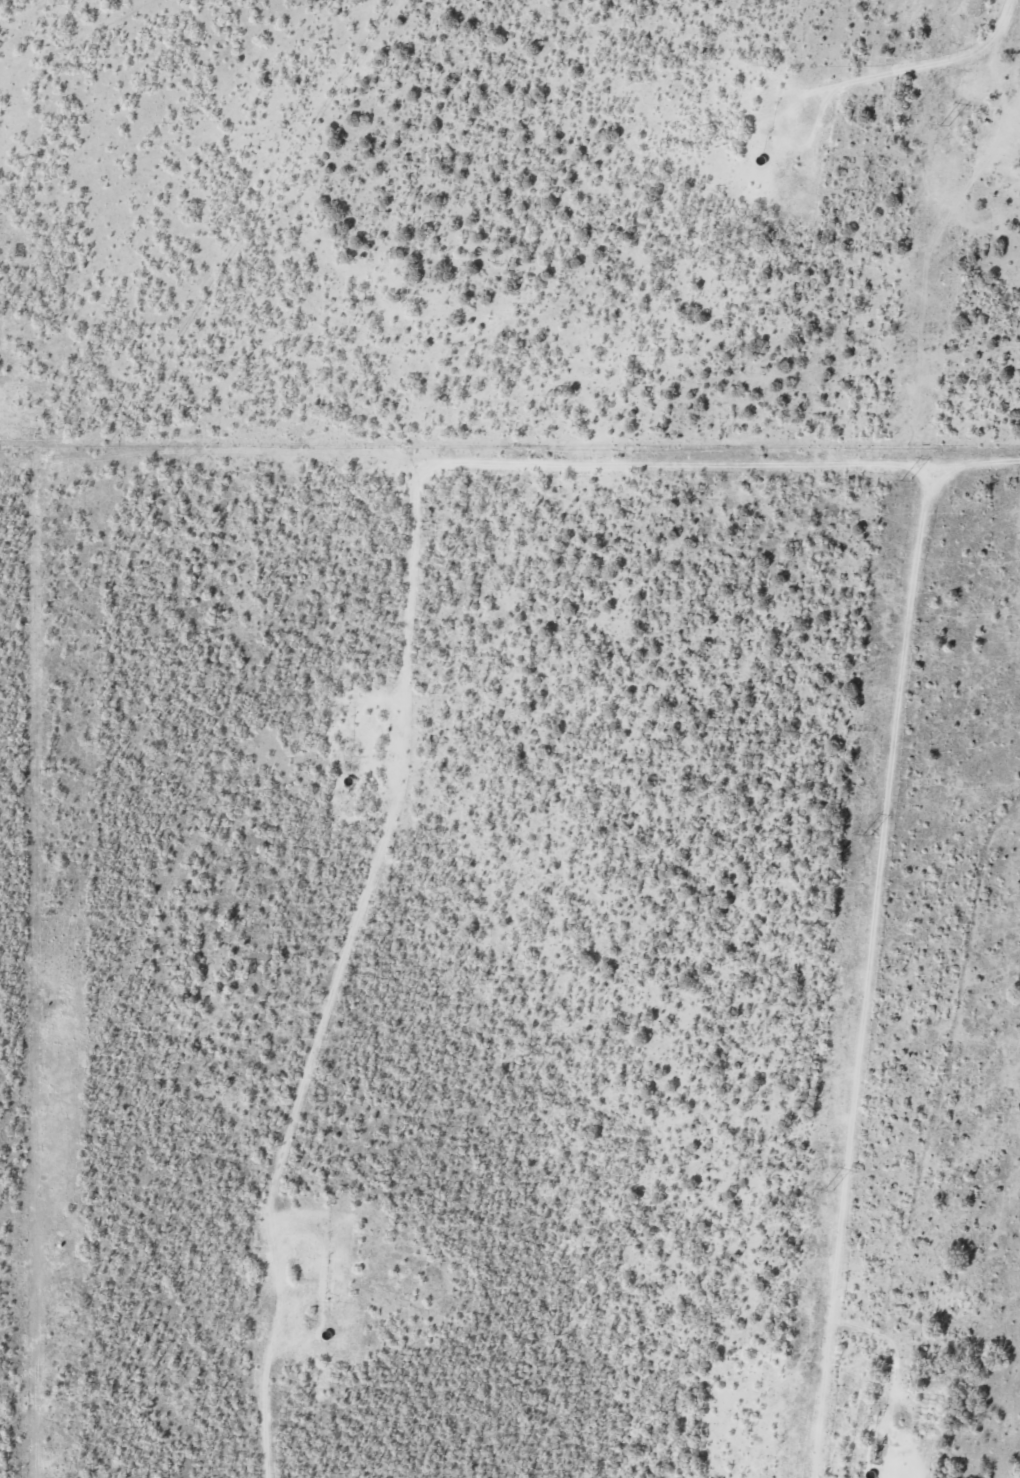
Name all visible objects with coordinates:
power tower: (946, 123)
power tower: (907, 478)
power tower: (868, 831)
power tower: (830, 1188)

